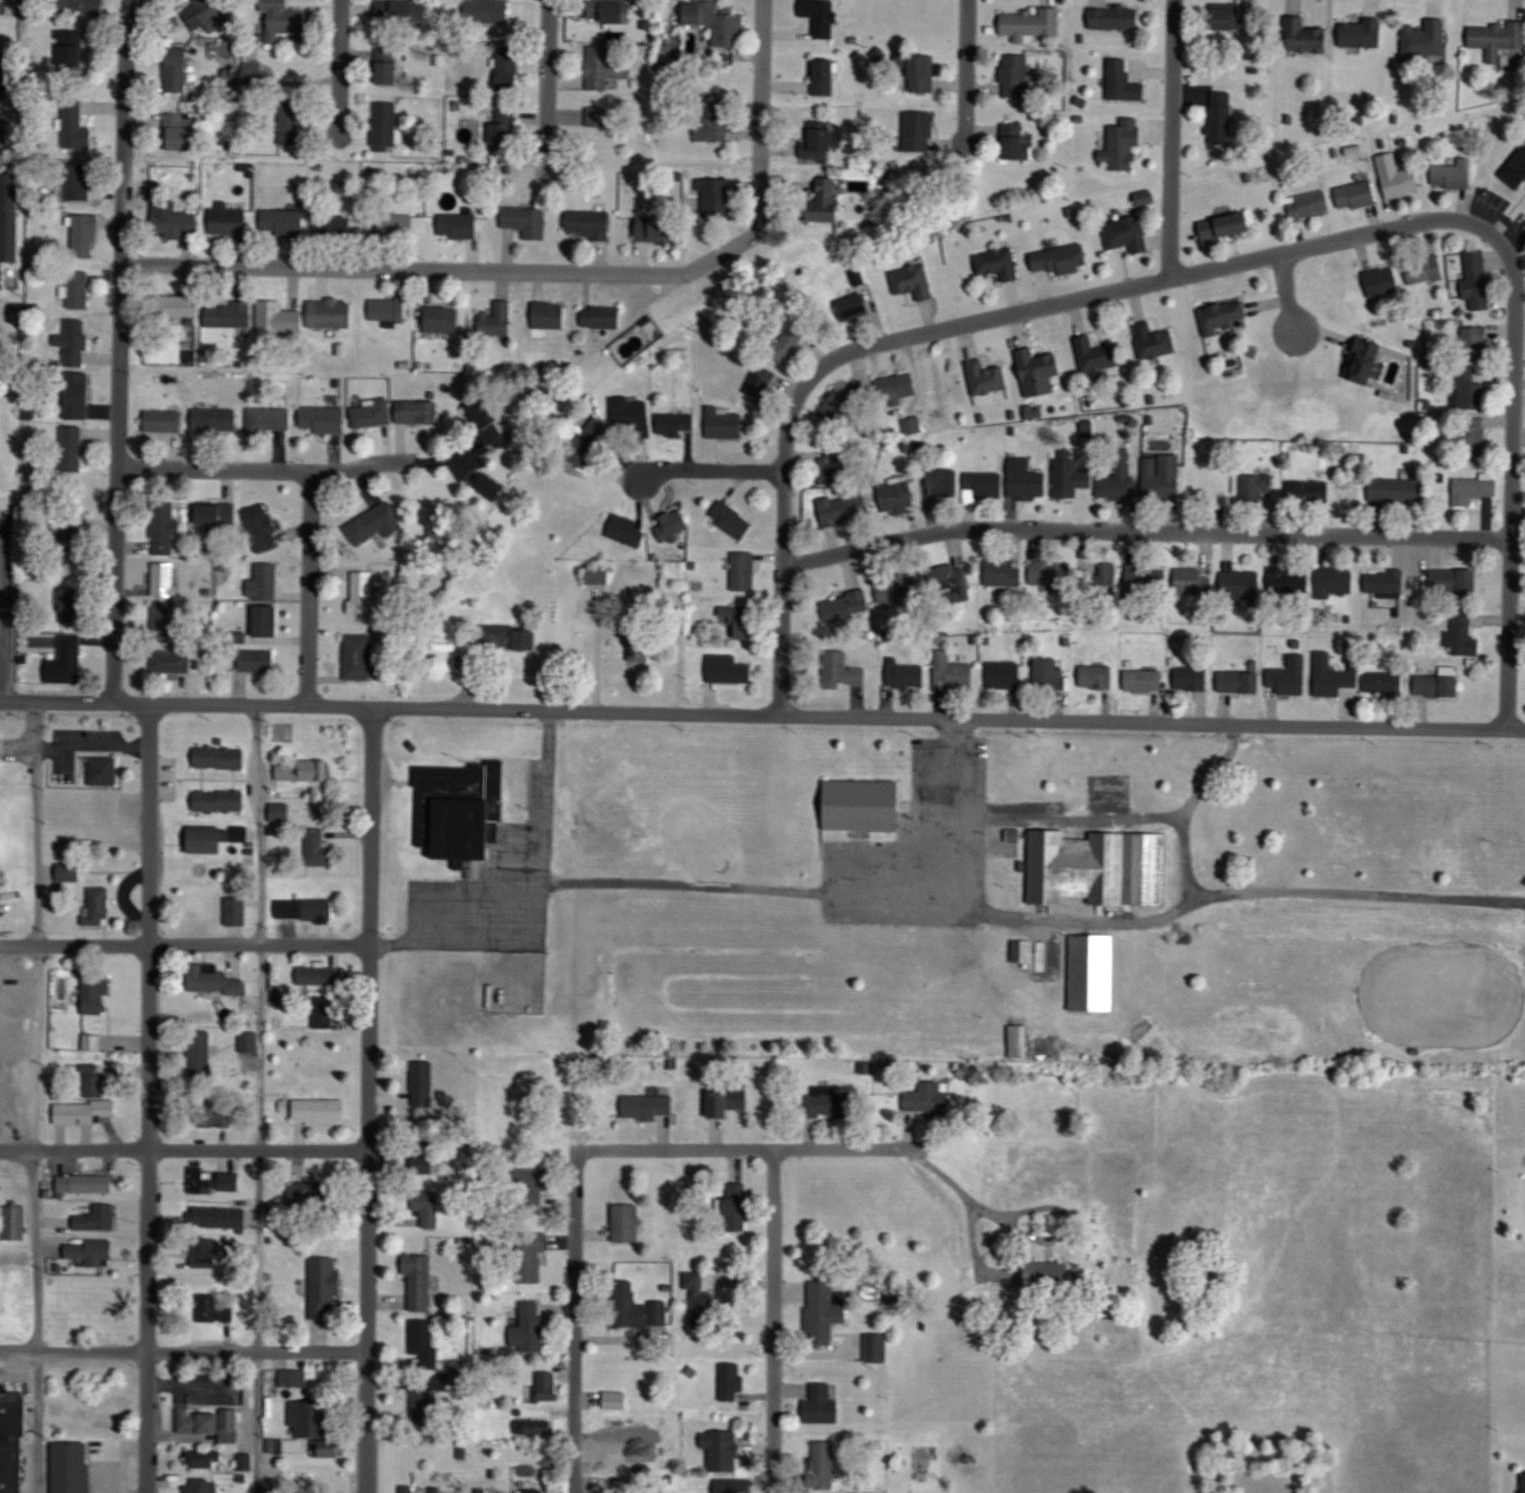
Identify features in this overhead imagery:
building: (81, 5)
building: (609, 10)
building: (397, 11)
building: (487, 12)
building: (206, 13)
building: (821, 16)
building: (1114, 17)
building: (1230, 19)
building: (286, 20)
building: (717, 21)
building: (1031, 24)
building: (1362, 32)
building: (1302, 33)
building: (1425, 37)
building: (1496, 38)
building: (69, 49)
building: (386, 66)
building: (604, 67)
building: (507, 68)
road: (546, 69)
road: (963, 70)
building: (176, 72)
road: (338, 72)
building: (922, 73)
building: (824, 76)
building: (1015, 76)
building: (1123, 82)
building: (598, 116)
building: (1222, 117)
building: (292, 119)
building: (717, 124)
building: (74, 126)
building: (384, 126)
building: (505, 129)
building: (918, 130)
building: (180, 132)
building: (817, 139)
road: (1166, 140)
building: (1016, 141)
building: (1123, 144)
building: (1515, 170)
building: (1453, 174)
building: (1397, 176)
building: (76, 181)
building: (1356, 195)
building: (714, 198)
building: (827, 200)
building: (1309, 204)
building: (10, 216)
building: (227, 220)
building: (526, 221)
building: (174, 222)
building: (283, 222)
building: (589, 223)
building: (398, 225)
building: (461, 225)
building: (1226, 226)
building: (334, 227)
building: (654, 228)
building: (1126, 234)
road: (1374, 234)
building: (85, 236)
building: (1060, 259)
building: (998, 263)
building: (1424, 268)
road: (558, 271)
building: (1, 278)
building: (1477, 279)
building: (913, 280)
building: (1382, 281)
building: (78, 289)
road: (1279, 296)
building: (177, 305)
building: (854, 306)
building: (388, 309)
building: (330, 314)
building: (227, 315)
building: (549, 315)
building: (601, 316)
building: (1221, 317)
building: (278, 318)
building: (442, 319)
building: (496, 320)
building: (1154, 340)
building: (75, 341)
building: (1474, 343)
building: (788, 344)
road: (120, 348)
building: (1095, 354)
building: (1366, 360)
building: (1039, 371)
building: (986, 378)
building: (760, 381)
building: (896, 386)
building: (1466, 390)
building: (76, 400)
building: (838, 406)
building: (418, 411)
building: (372, 413)
building: (630, 416)
building: (214, 419)
building: (269, 419)
building: (164, 420)
building: (323, 420)
building: (487, 420)
building: (675, 423)
building: (724, 423)
building: (913, 425)
building: (1470, 437)
building: (587, 447)
building: (72, 448)
building: (831, 466)
road: (263, 468)
building: (1069, 475)
building: (1117, 476)
building: (1161, 476)
road: (704, 477)
building: (1025, 479)
building: (1210, 480)
building: (942, 482)
building: (490, 484)
building: (984, 486)
building: (1255, 488)
building: (1473, 489)
building: (1395, 490)
building: (1309, 492)
building: (897, 496)
building: (841, 509)
building: (216, 514)
building: (731, 519)
building: (674, 520)
building: (260, 526)
building: (373, 526)
building: (164, 528)
building: (628, 529)
road: (1138, 536)
road: (776, 554)
building: (744, 571)
building: (1002, 573)
building: (1050, 573)
building: (599, 574)
building: (164, 577)
building: (1107, 577)
building: (1146, 578)
building: (1288, 579)
building: (949, 581)
building: (1192, 581)
building: (1335, 581)
building: (1384, 581)
building: (1453, 581)
building: (263, 582)
building: (1240, 583)
road: (311, 587)
building: (903, 589)
building: (363, 592)
building: (71, 605)
building: (848, 605)
road: (4, 615)
building: (163, 620)
building: (742, 620)
building: (267, 621)
building: (1462, 636)
building: (510, 637)
building: (640, 644)
road: (3, 650)
building: (358, 656)
building: (66, 660)
building: (256, 660)
building: (170, 661)
building: (728, 669)
building: (842, 669)
building: (952, 672)
building: (905, 673)
building: (1048, 674)
building: (1004, 675)
building: (1289, 676)
building: (1329, 676)
building: (1097, 677)
building: (1192, 678)
building: (1144, 680)
building: (1240, 682)
building: (1383, 682)
building: (1437, 683)
road: (57, 699)
road: (820, 713)
building: (0, 731)
road: (1229, 731)
road: (94, 744)
building: (220, 756)
building: (104, 770)
building: (304, 770)
building: (219, 800)
building: (863, 804)
building: (459, 808)
road: (1184, 810)
building: (282, 814)
road: (1023, 819)
road: (38, 821)
building: (206, 839)
building: (317, 849)
road: (956, 861)
building: (1099, 867)
building: (68, 871)
building: (98, 905)
building: (315, 908)
road: (542, 908)
building: (236, 911)
road: (1038, 918)
road: (184, 944)
building: (1022, 950)
building: (1093, 972)
building: (318, 975)
building: (214, 978)
building: (96, 992)
building: (325, 1012)
building: (248, 1040)
building: (92, 1042)
road: (37, 1048)
building: (201, 1051)
building: (973, 1071)
building: (95, 1080)
building: (422, 1083)
road: (148, 1096)
road: (259, 1098)
road: (367, 1098)
building: (922, 1099)
road: (10, 1101)
building: (727, 1101)
building: (827, 1103)
building: (647, 1106)
building: (83, 1111)
building: (318, 1111)
building: (212, 1115)
road: (750, 1147)
road: (183, 1149)
building: (214, 1179)
building: (85, 1183)
building: (310, 1194)
building: (427, 1207)
building: (738, 1214)
building: (96, 1217)
building: (220, 1217)
building: (626, 1222)
building: (14, 1223)
road: (1022, 1232)
road: (976, 1244)
building: (91, 1250)
building: (203, 1254)
building: (531, 1258)
building: (1047, 1273)
building: (419, 1281)
building: (699, 1302)
building: (636, 1307)
building: (824, 1307)
building: (213, 1308)
road: (575, 1320)
road: (774, 1320)
road: (37, 1321)
building: (528, 1326)
building: (425, 1342)
road: (183, 1349)
building: (294, 1377)
building: (732, 1380)
building: (545, 1387)
building: (822, 1403)
building: (425, 1407)
building: (108, 1417)
building: (312, 1419)
building: (210, 1422)
building: (536, 1427)
building: (720, 1440)
building: (12, 1442)
road: (126, 1443)
building: (275, 1445)
building: (613, 1447)
building: (329, 1448)
building: (205, 1459)
building: (823, 1464)
building: (71, 1467)
road: (109, 1472)
building: (1523, 1482)
building: (201, 1486)
building: (729, 1486)
building: (408, 1489)
building: (536, 1491)
building: (437, 1492)

